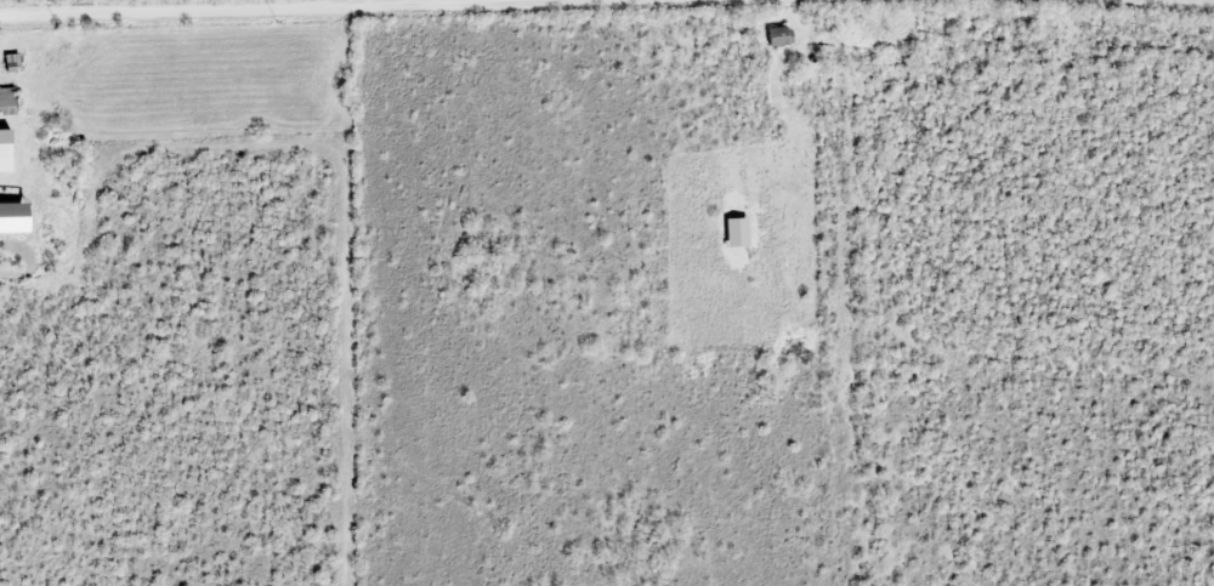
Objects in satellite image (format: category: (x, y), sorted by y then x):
road: (222, 6)
building: (781, 35)
building: (8, 99)

